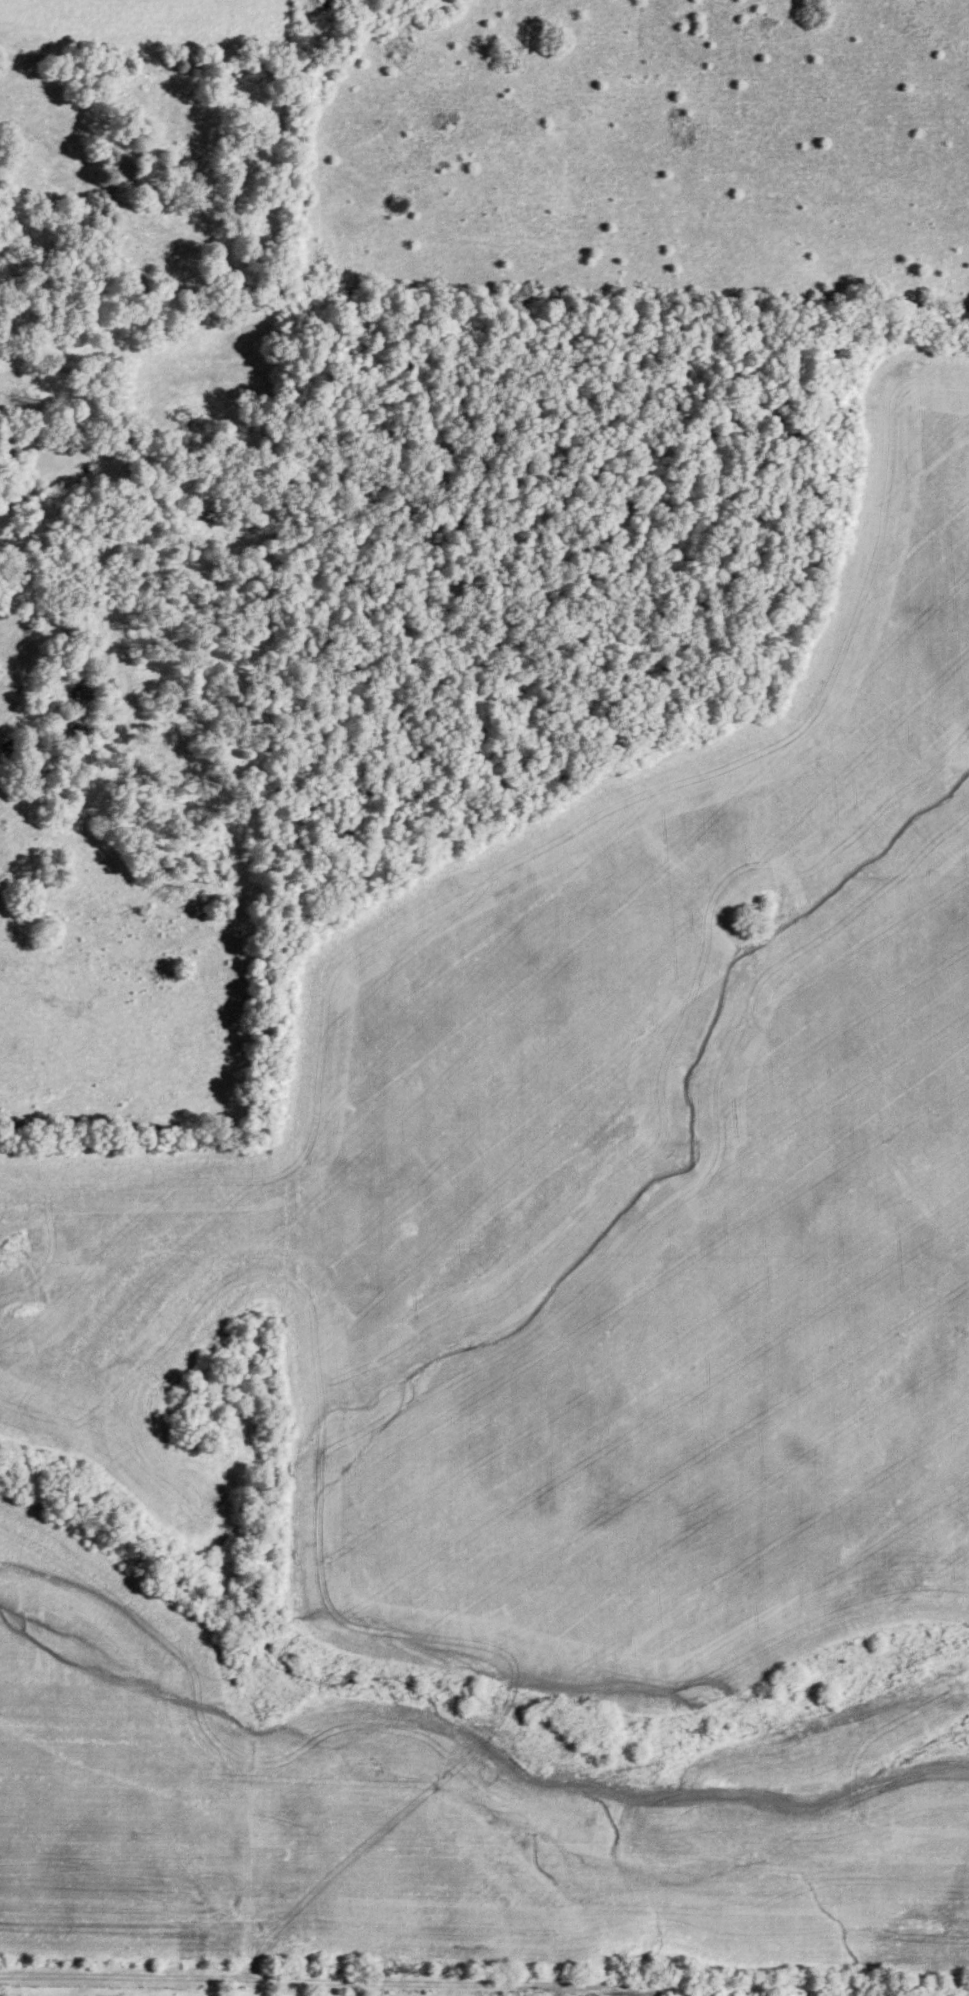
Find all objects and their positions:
road: (484, 1982)

